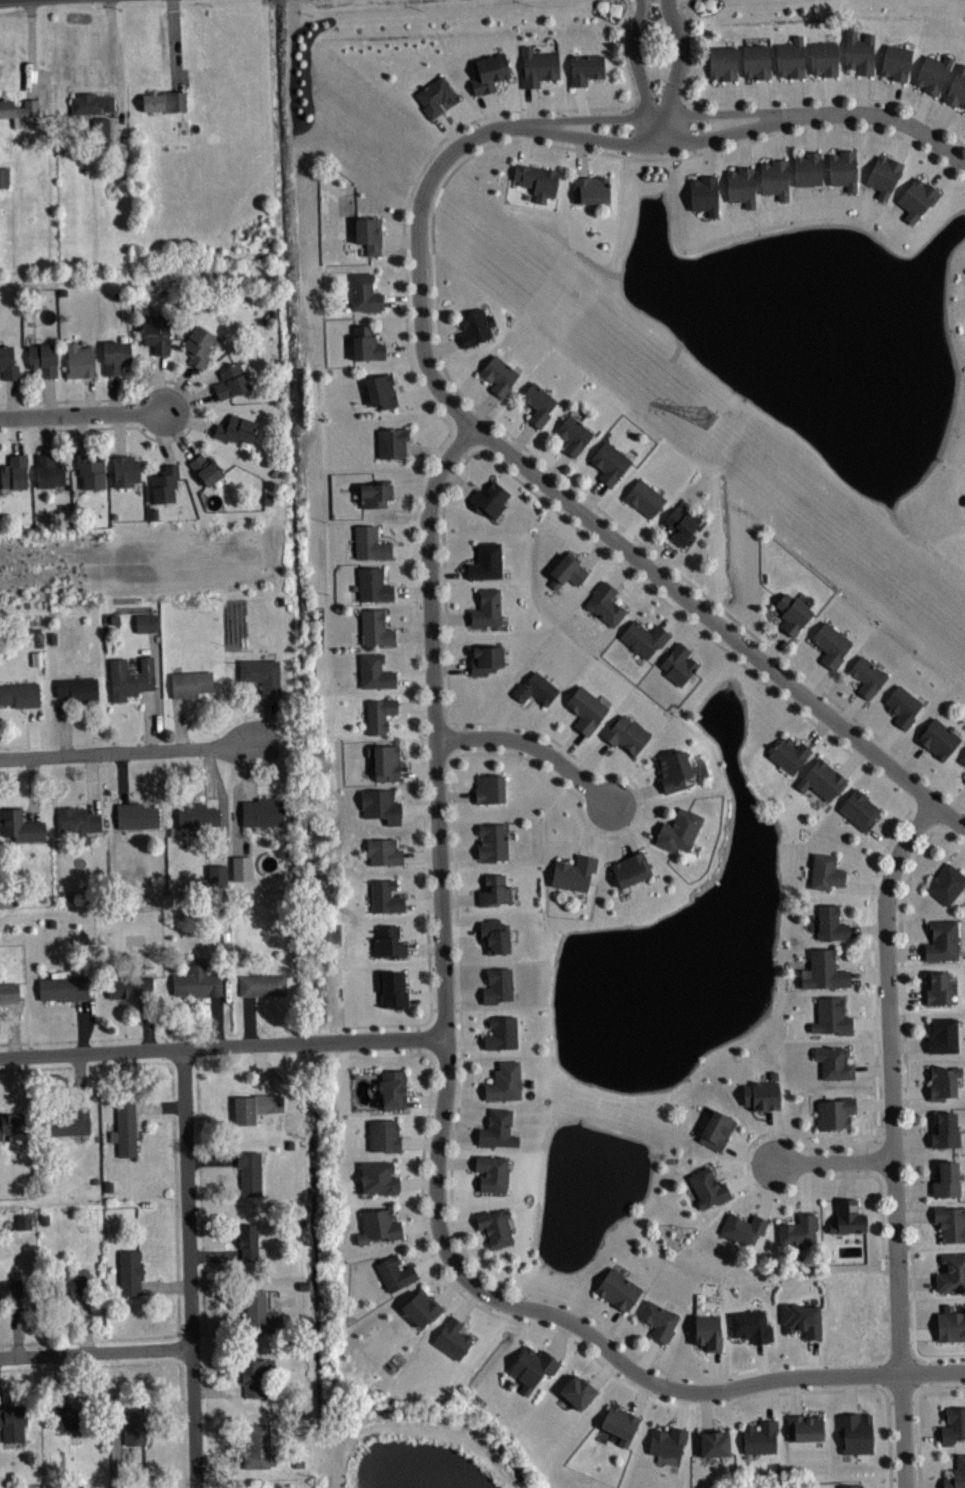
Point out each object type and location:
road: (633, 0)
road: (655, 0)
road: (683, 17)
road: (173, 45)
road: (30, 49)
building: (858, 51)
building: (790, 57)
building: (823, 57)
building: (756, 60)
building: (721, 61)
building: (895, 61)
building: (538, 66)
building: (585, 67)
road: (116, 68)
road: (676, 71)
building: (488, 72)
building: (932, 72)
road: (639, 73)
road: (685, 78)
building: (956, 87)
building: (435, 96)
road: (838, 96)
building: (164, 100)
building: (90, 102)
building: (18, 111)
road: (727, 114)
road: (893, 118)
road: (592, 119)
road: (699, 126)
building: (99, 131)
road: (734, 131)
road: (598, 138)
road: (694, 151)
road: (625, 155)
building: (807, 168)
building: (842, 169)
building: (883, 174)
building: (774, 177)
building: (537, 180)
building: (5, 181)
building: (740, 185)
building: (591, 188)
building: (703, 194)
building: (916, 198)
building: (369, 233)
road: (419, 249)
building: (365, 293)
building: (475, 326)
building: (157, 333)
building: (366, 344)
building: (199, 345)
building: (116, 355)
building: (43, 358)
building: (80, 360)
building: (8, 362)
building: (498, 374)
building: (232, 380)
building: (381, 390)
building: (538, 402)
road: (194, 408)
road: (85, 416)
power tower: (707, 422)
building: (237, 429)
building: (573, 434)
building: (392, 442)
road: (431, 457)
building: (609, 461)
building: (206, 468)
building: (49, 470)
building: (125, 470)
building: (15, 471)
building: (91, 471)
building: (165, 483)
building: (375, 493)
building: (644, 496)
building: (489, 499)
building: (964, 501)
building: (681, 525)
building: (370, 543)
building: (486, 561)
building: (567, 570)
road: (690, 583)
building: (374, 584)
building: (605, 603)
building: (486, 608)
building: (792, 612)
road: (446, 616)
building: (146, 622)
road: (722, 627)
building: (375, 628)
building: (644, 637)
building: (830, 643)
building: (485, 659)
building: (679, 663)
building: (375, 671)
building: (262, 673)
building: (867, 676)
building: (130, 677)
building: (191, 682)
building: (535, 688)
building: (78, 689)
building: (20, 694)
building: (902, 705)
building: (586, 709)
building: (379, 713)
road: (436, 726)
building: (625, 734)
building: (938, 738)
road: (531, 748)
road: (127, 749)
building: (788, 754)
building: (963, 758)
building: (385, 760)
building: (964, 763)
building: (673, 770)
building: (822, 778)
building: (489, 788)
building: (381, 805)
building: (859, 808)
building: (263, 811)
building: (197, 814)
building: (137, 815)
building: (79, 822)
building: (21, 825)
building: (679, 830)
building: (493, 841)
building: (384, 850)
building: (631, 868)
building: (825, 871)
building: (573, 872)
building: (946, 883)
building: (494, 890)
building: (385, 897)
building: (830, 922)
building: (494, 935)
building: (942, 939)
building: (388, 941)
building: (824, 970)
building: (197, 982)
building: (263, 984)
building: (127, 985)
building: (497, 985)
building: (63, 986)
building: (937, 987)
building: (394, 990)
building: (9, 992)
building: (831, 1016)
building: (942, 1034)
building: (505, 1038)
road: (222, 1045)
building: (835, 1062)
building: (943, 1081)
building: (508, 1086)
building: (392, 1088)
road: (906, 1092)
building: (761, 1094)
building: (255, 1106)
building: (835, 1112)
building: (67, 1121)
building: (12, 1123)
building: (125, 1128)
building: (716, 1129)
building: (945, 1130)
building: (501, 1134)
building: (384, 1135)
road: (896, 1139)
road: (837, 1164)
building: (250, 1172)
building: (379, 1177)
building: (495, 1177)
building: (946, 1179)
building: (707, 1187)
building: (847, 1216)
building: (950, 1222)
building: (378, 1225)
building: (27, 1226)
building: (743, 1228)
building: (798, 1230)
building: (499, 1231)
building: (249, 1242)
road: (189, 1268)
building: (131, 1270)
building: (395, 1272)
building: (951, 1273)
building: (70, 1281)
building: (10, 1288)
building: (618, 1289)
building: (421, 1307)
building: (258, 1315)
building: (801, 1318)
building: (658, 1320)
building: (950, 1323)
building: (750, 1325)
building: (707, 1332)
road: (563, 1333)
building: (452, 1337)
road: (593, 1337)
road: (96, 1351)
building: (531, 1366)
building: (256, 1374)
building: (577, 1390)
road: (917, 1415)
building: (74, 1416)
building: (13, 1422)
building: (135, 1422)
building: (620, 1423)
building: (953, 1424)
building: (805, 1426)
building: (855, 1432)
building: (760, 1436)
building: (667, 1441)
building: (713, 1441)
building: (259, 1448)
building: (956, 1474)
building: (850, 1486)

